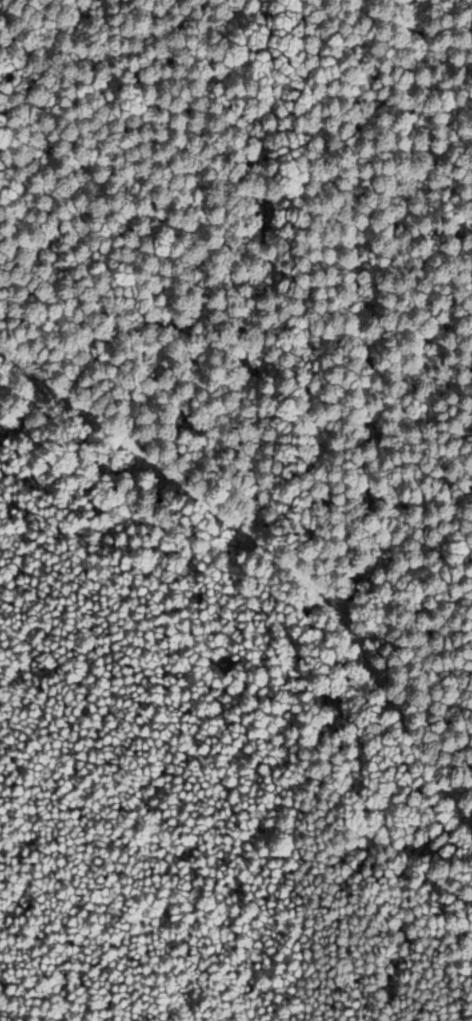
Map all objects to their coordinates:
road: (267, 574)

